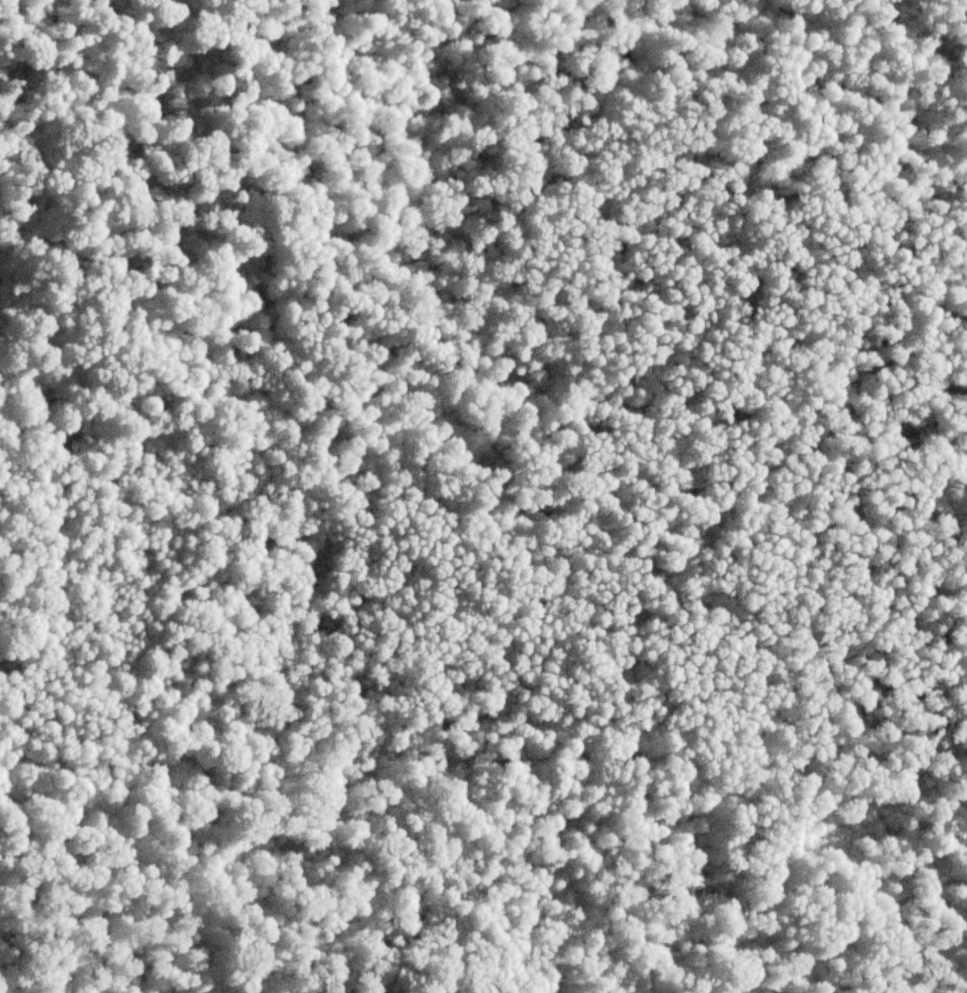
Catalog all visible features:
road: (911, 263)

